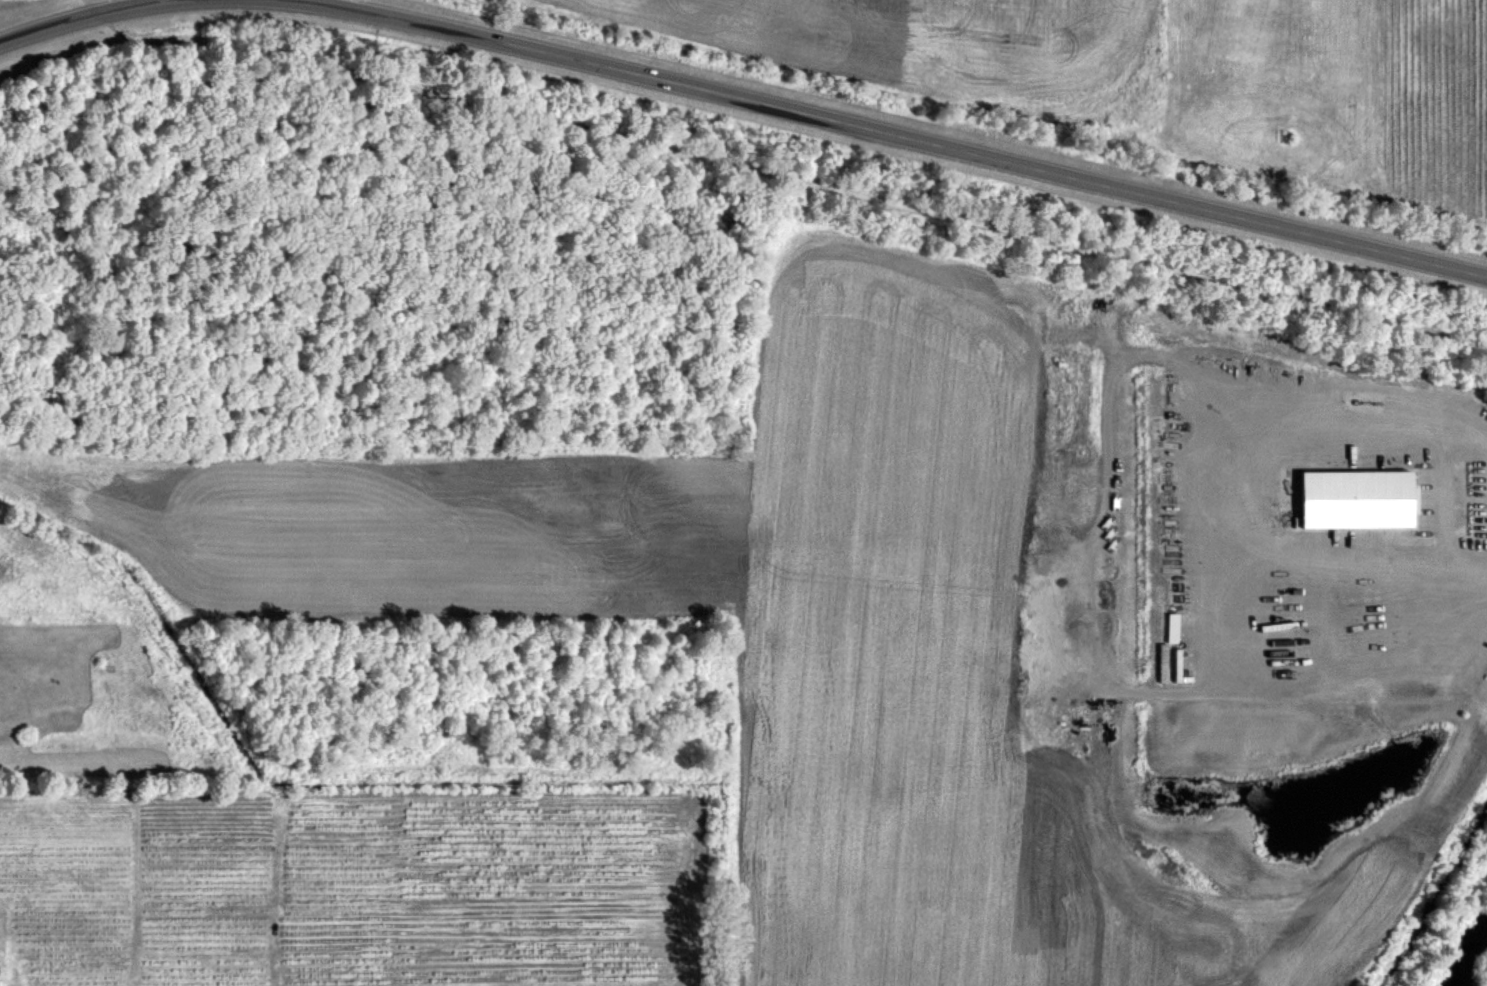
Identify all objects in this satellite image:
road: (83, 17)
road: (899, 133)
road: (780, 177)
building: (1356, 498)
building: (1171, 627)

